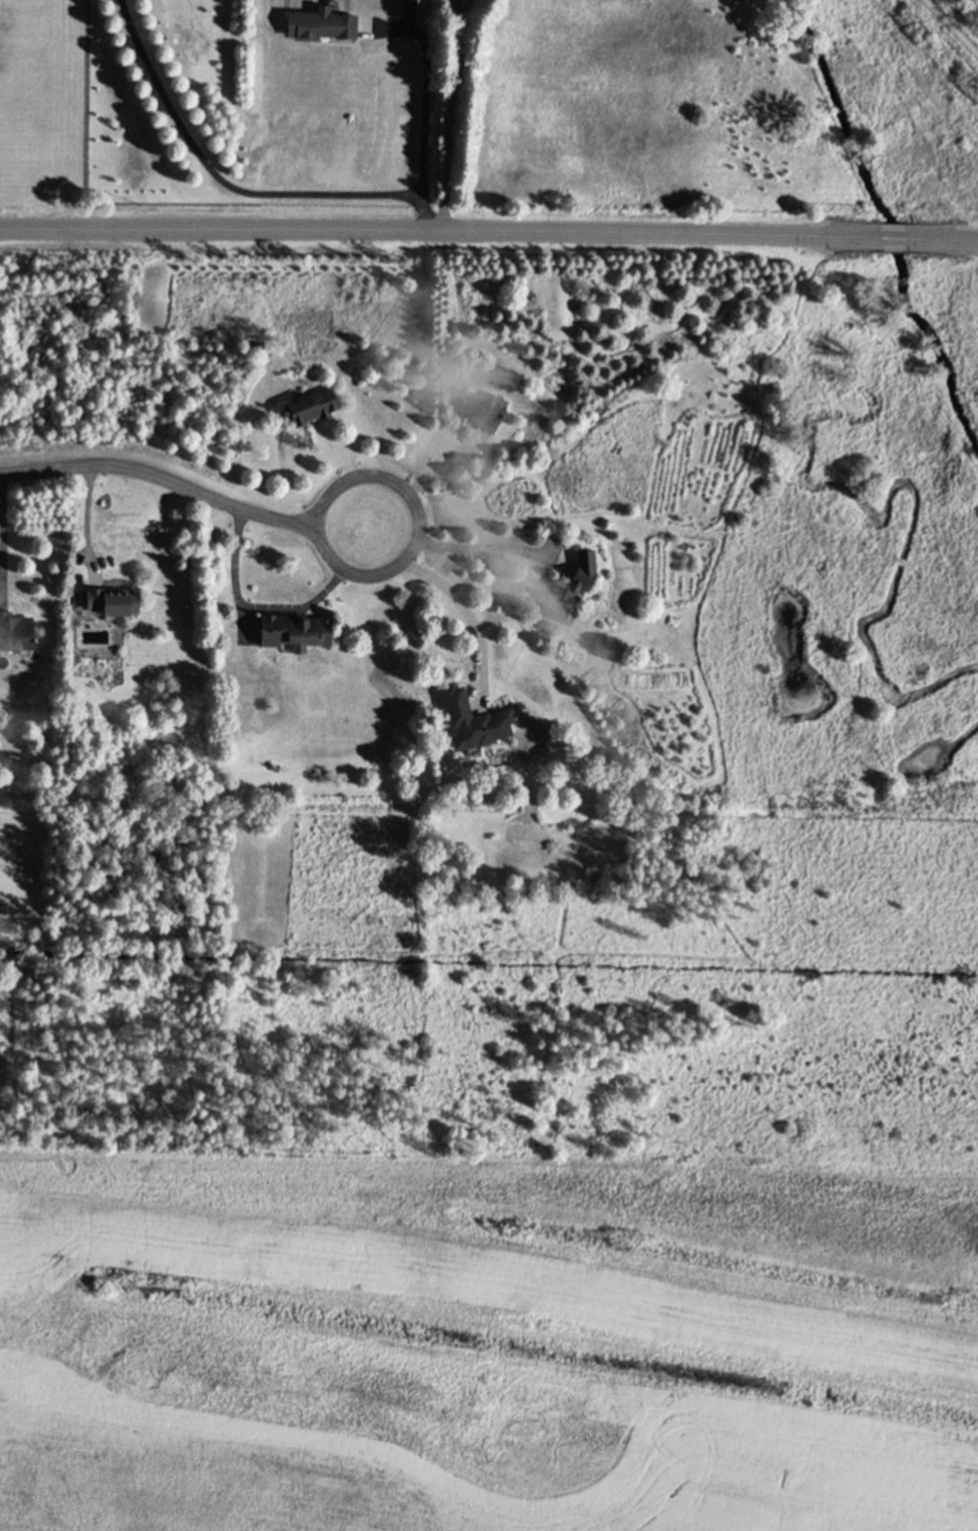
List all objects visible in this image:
building: (404, 0)
building: (320, 23)
road: (950, 28)
road: (426, 112)
road: (450, 115)
road: (220, 179)
road: (440, 231)
road: (894, 237)
road: (943, 238)
building: (450, 325)
building: (256, 347)
building: (310, 407)
building: (481, 410)
road: (161, 479)
road: (415, 512)
road: (85, 523)
road: (2, 530)
road: (489, 546)
building: (568, 587)
building: (112, 601)
road: (251, 606)
road: (471, 616)
building: (14, 630)
building: (293, 630)
building: (474, 721)

